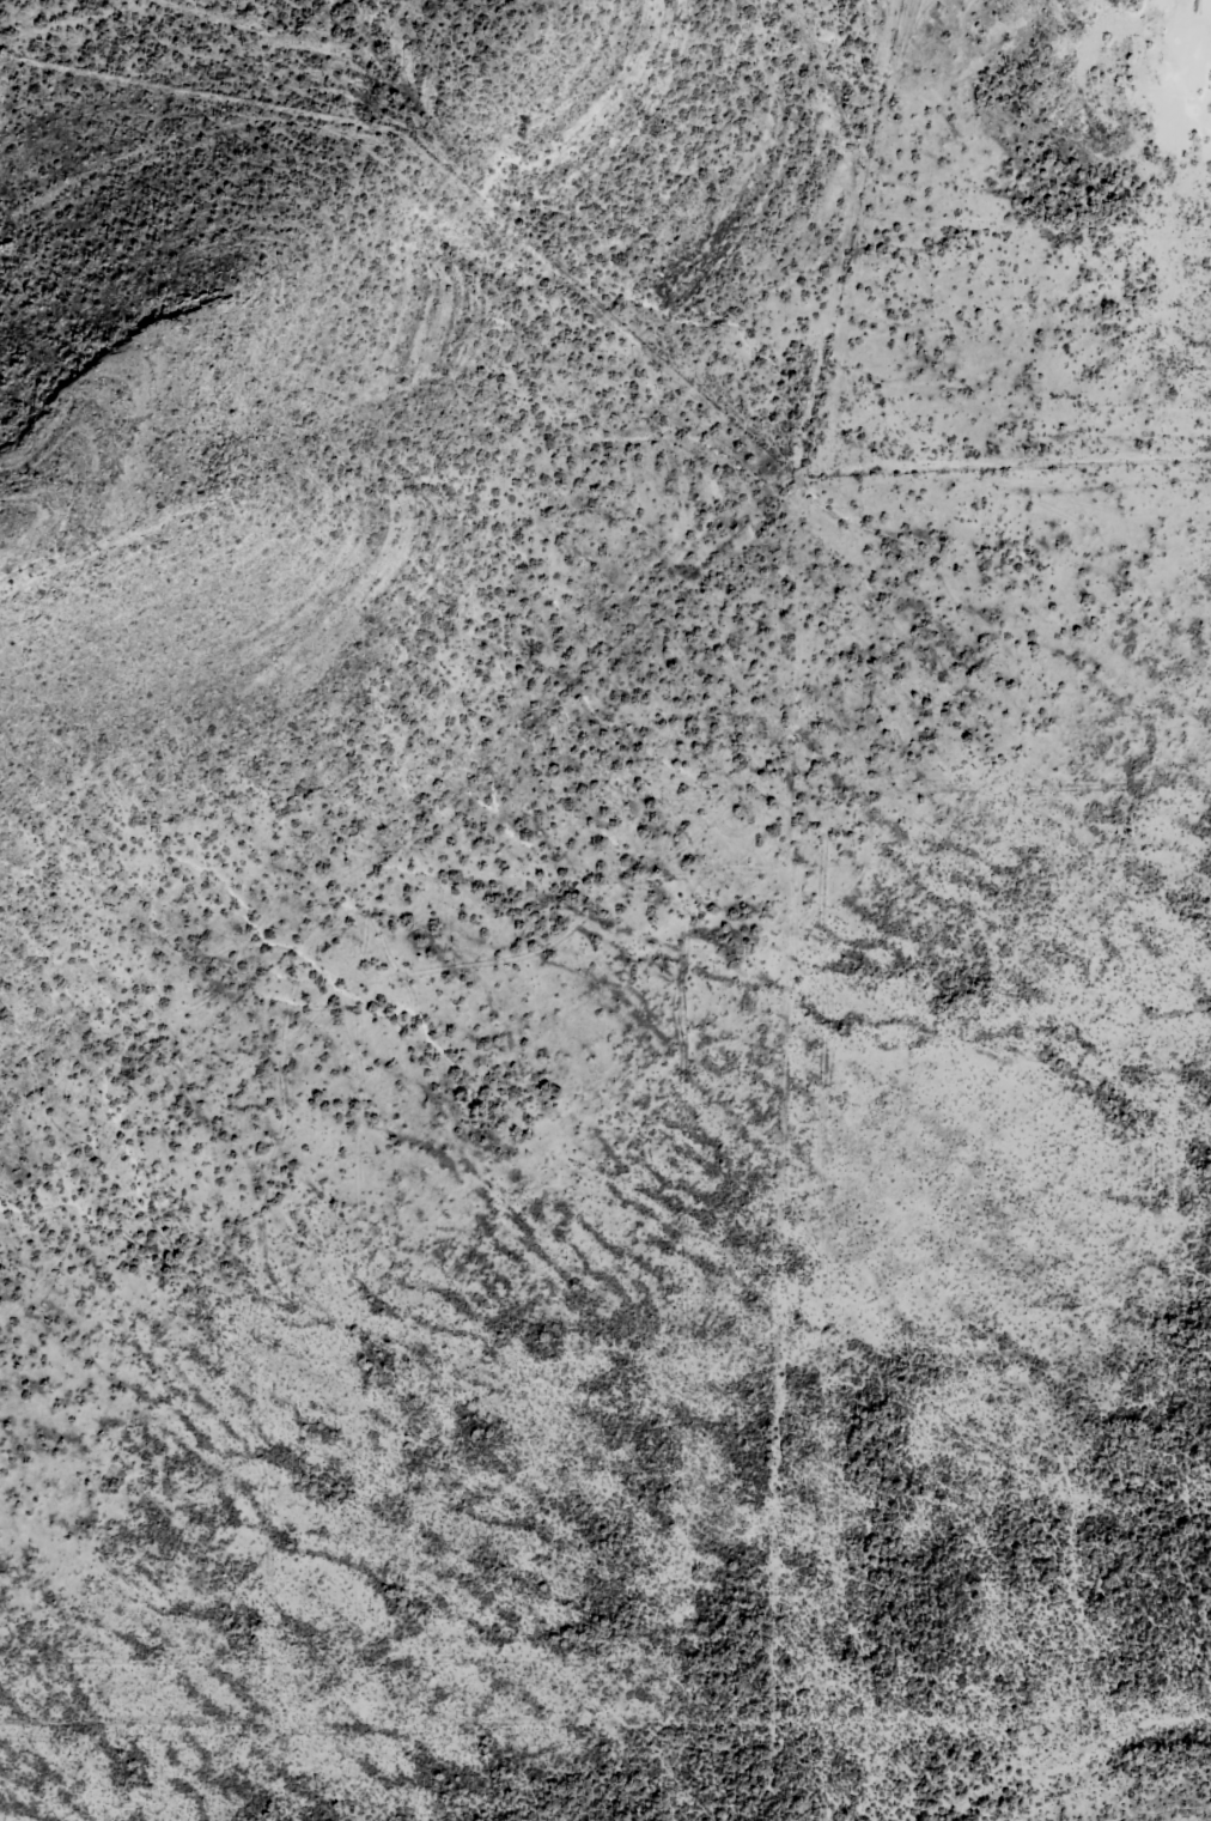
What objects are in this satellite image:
road: (728, 903)

